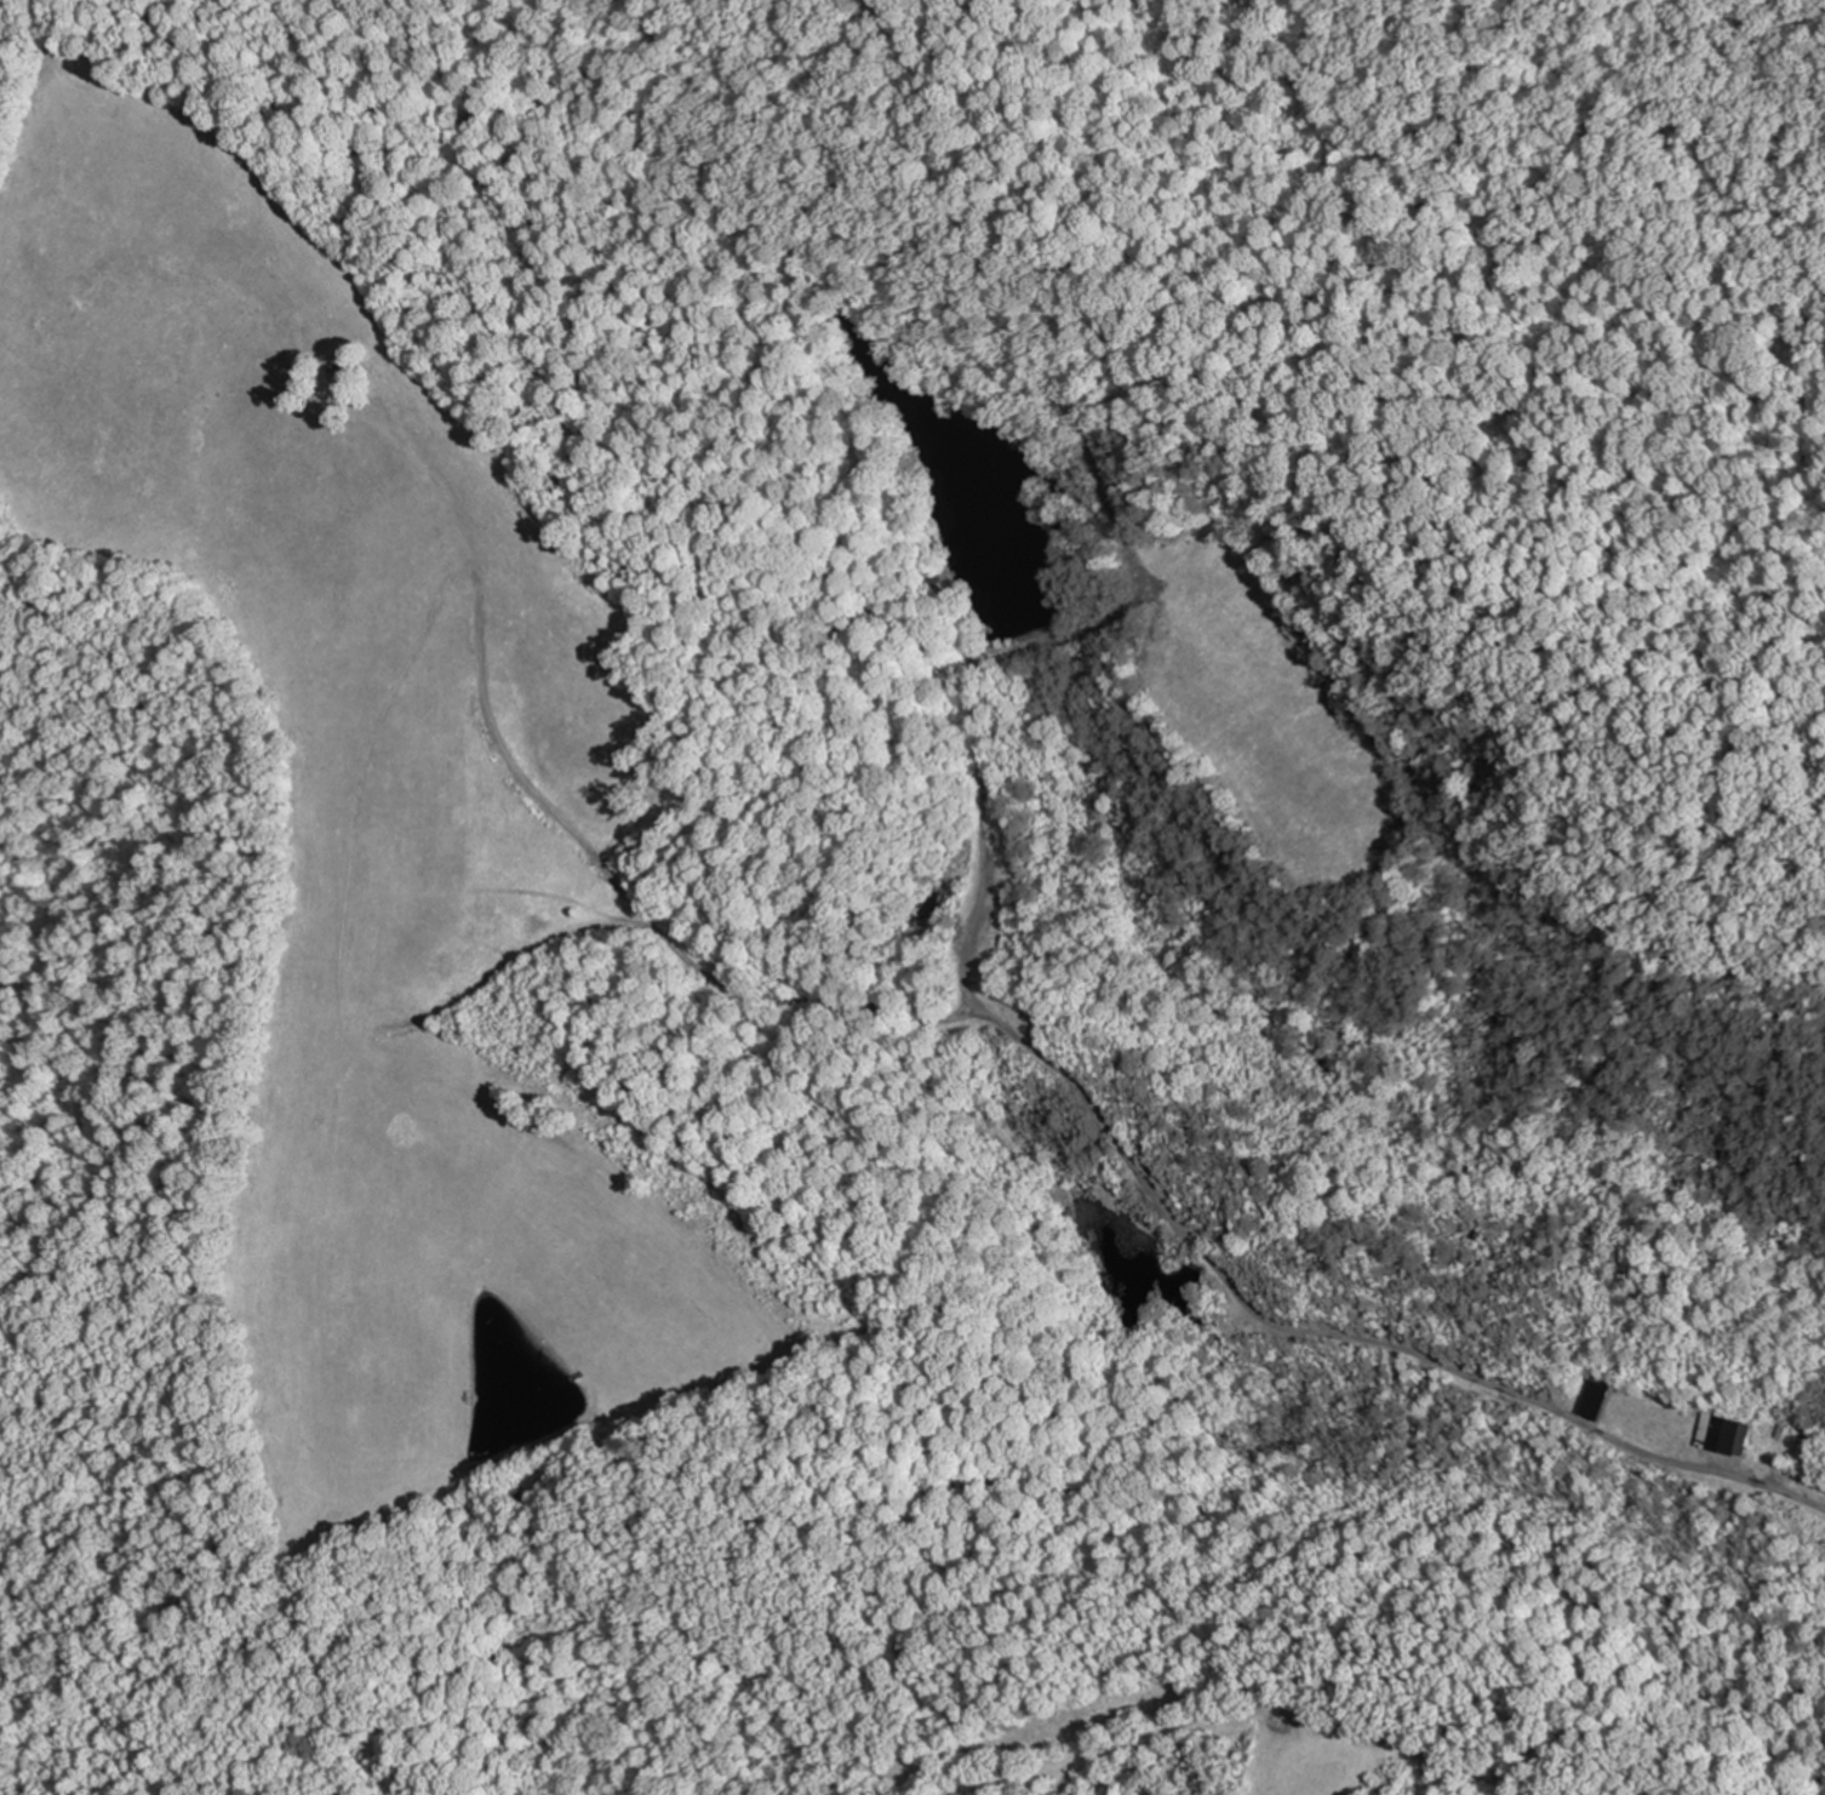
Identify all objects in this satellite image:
building: (1595, 1399)
building: (1723, 1434)

